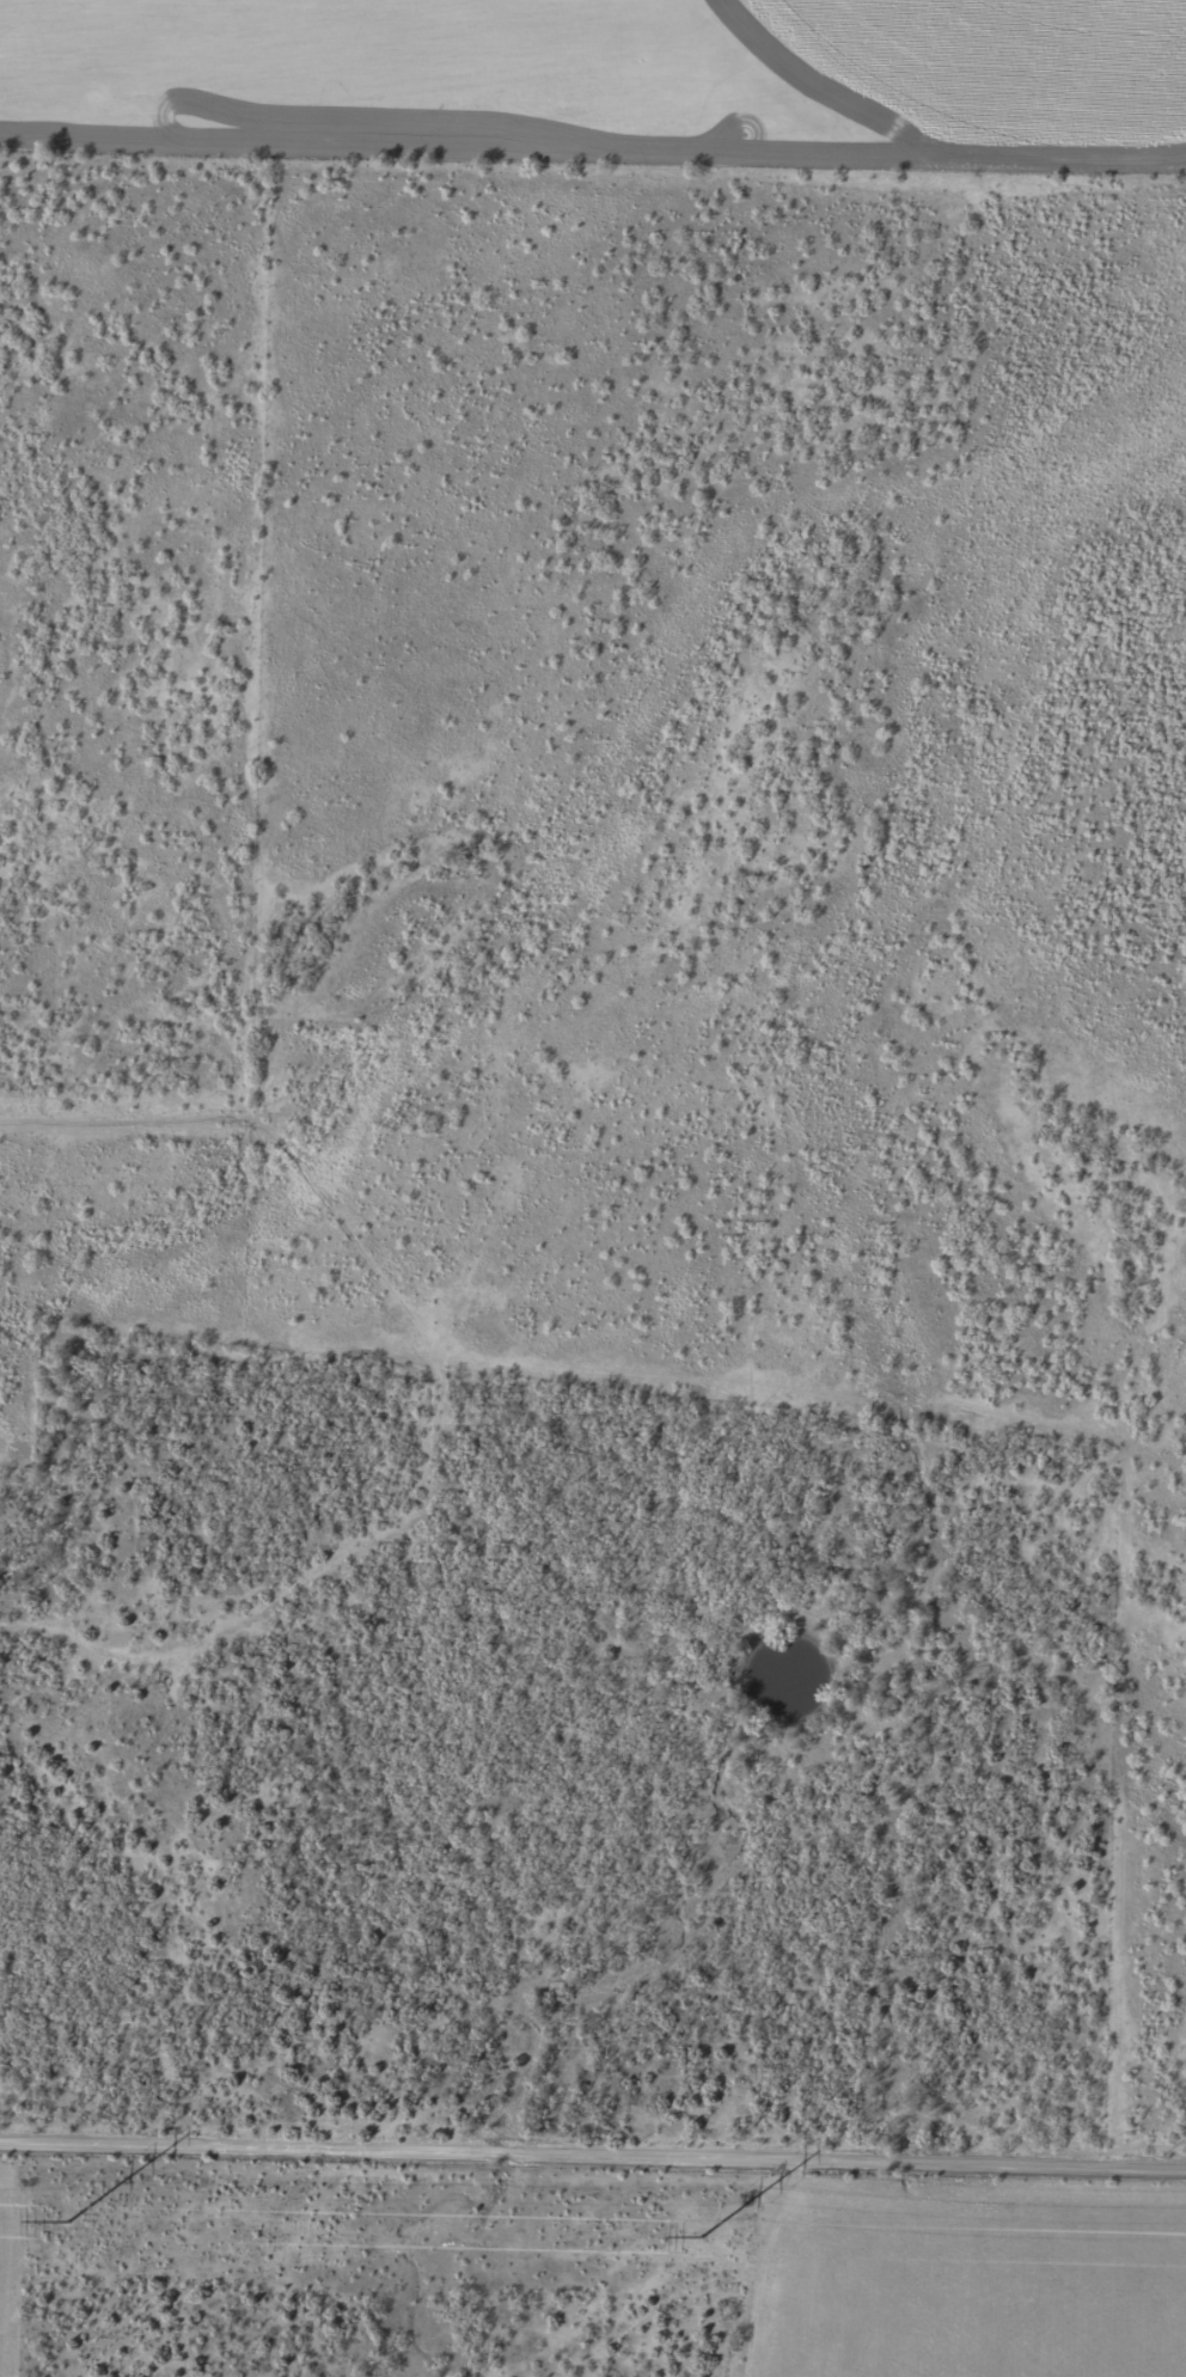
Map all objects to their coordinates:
road: (320, 1577)
road: (593, 2153)
power tower: (68, 2218)
power tower: (702, 2234)

